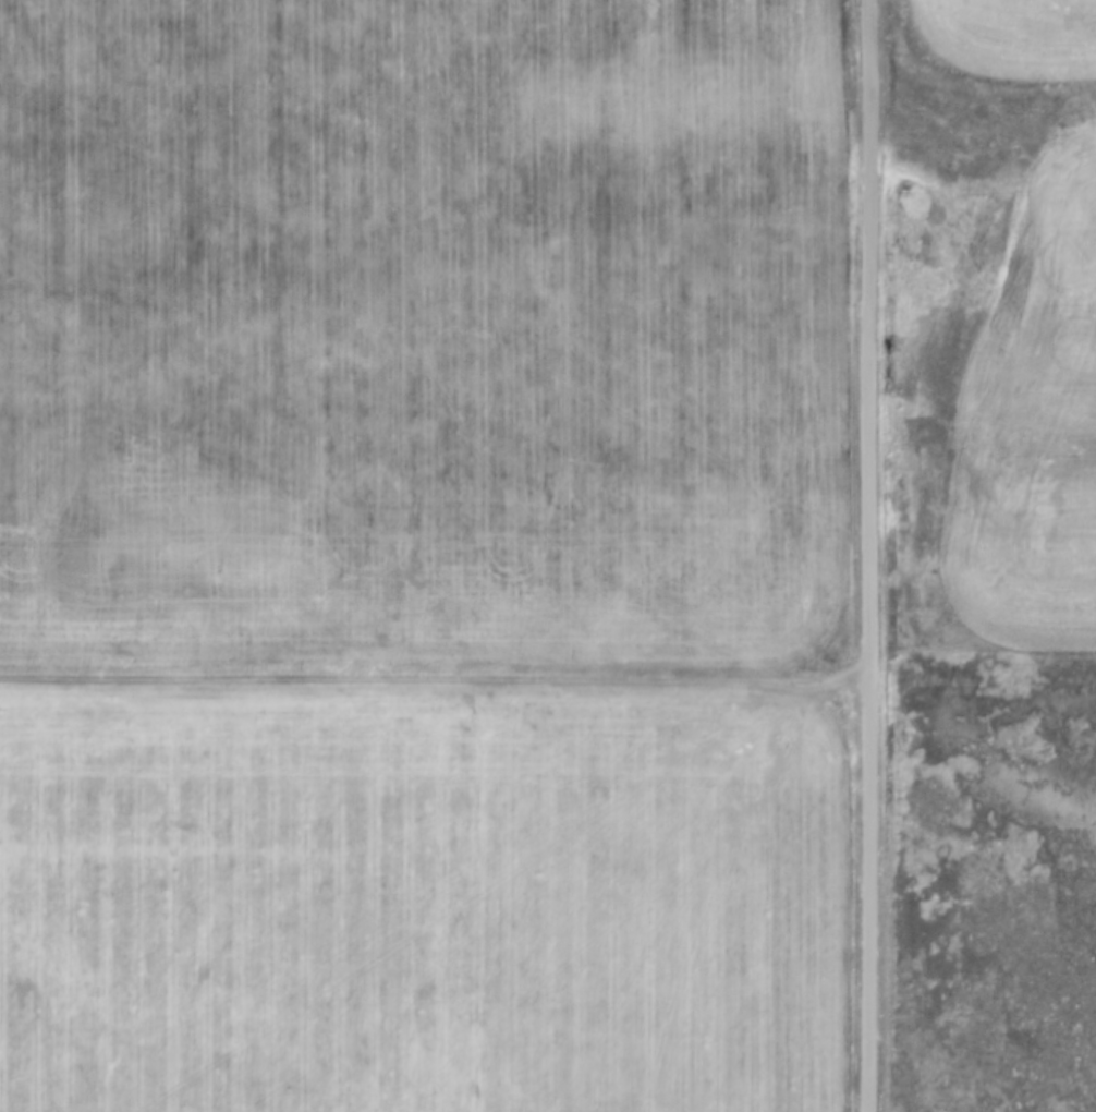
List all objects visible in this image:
road: (867, 555)

